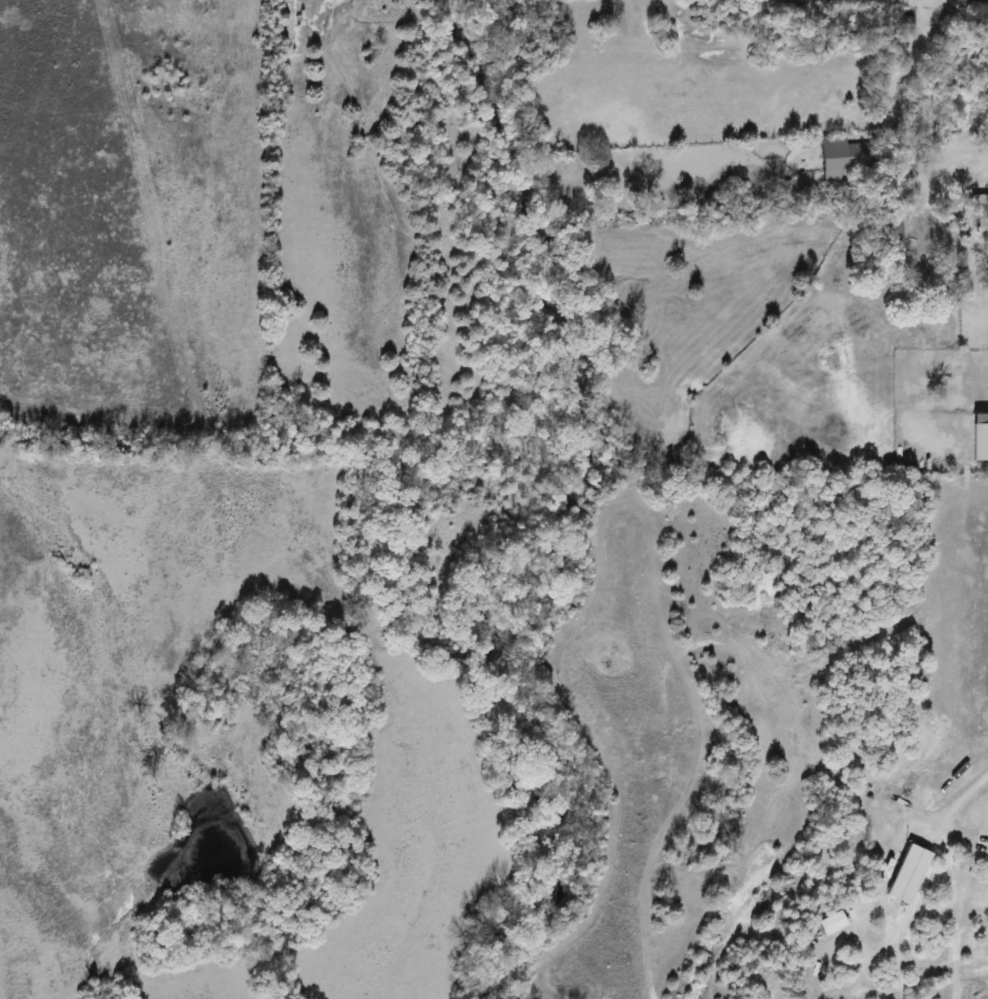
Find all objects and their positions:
road: (946, 148)
building: (844, 159)
building: (979, 211)
road: (956, 798)

